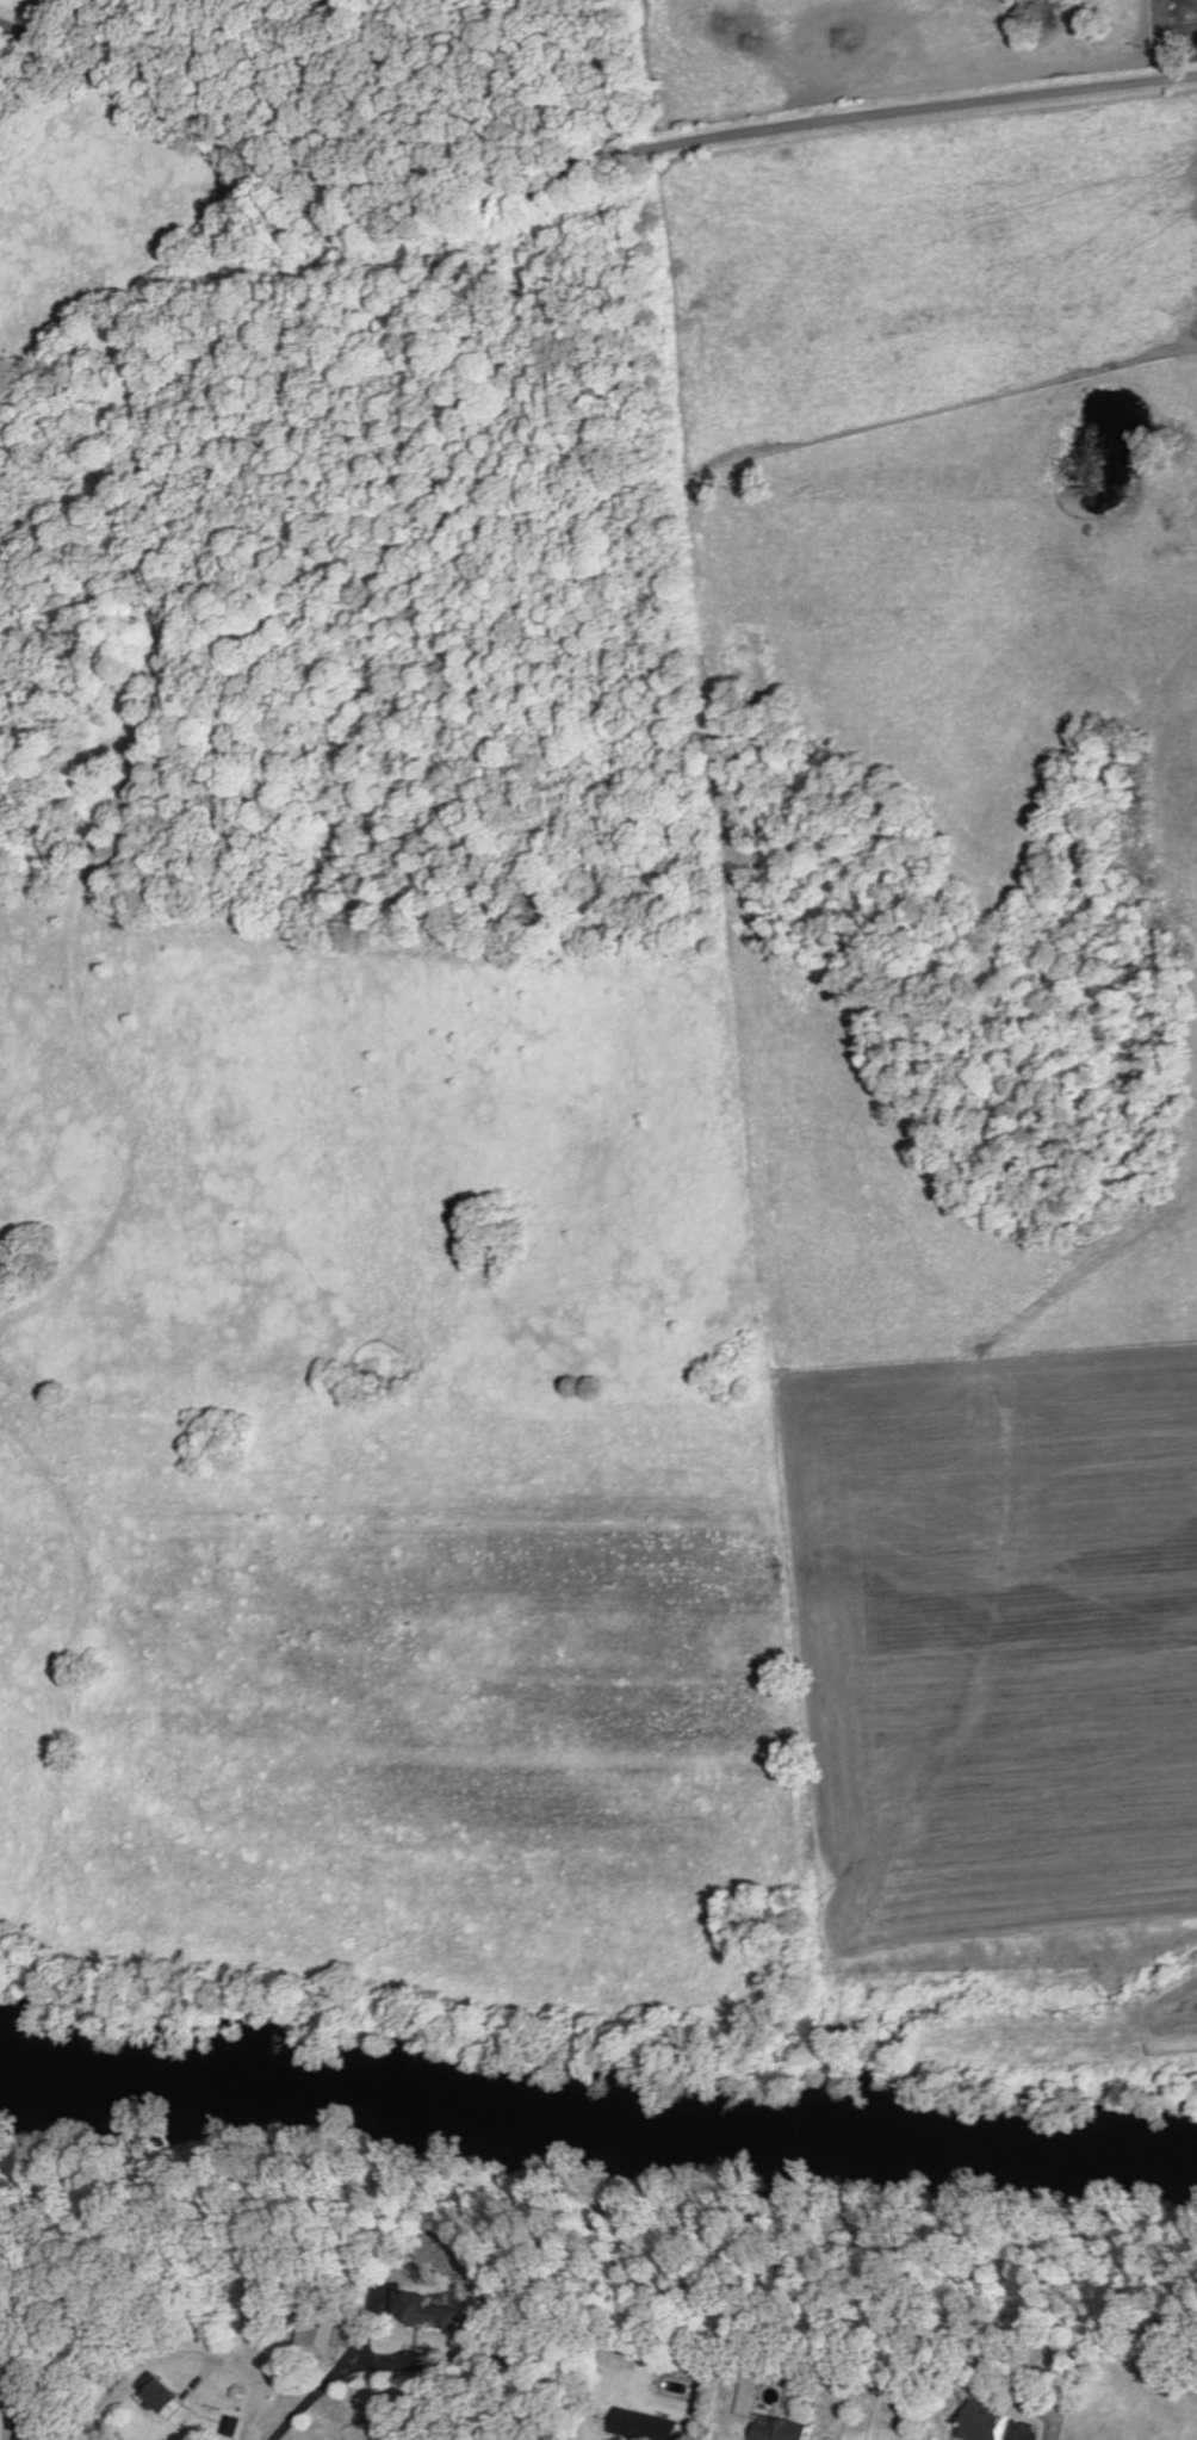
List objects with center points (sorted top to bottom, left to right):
road: (24, 75)
road: (583, 155)
river: (596, 2166)
building: (418, 2311)
road: (314, 2395)
building: (162, 2396)
road: (101, 2402)
road: (14, 2410)
building: (976, 2422)
building: (639, 2424)
building: (774, 2430)
building: (743, 2439)

